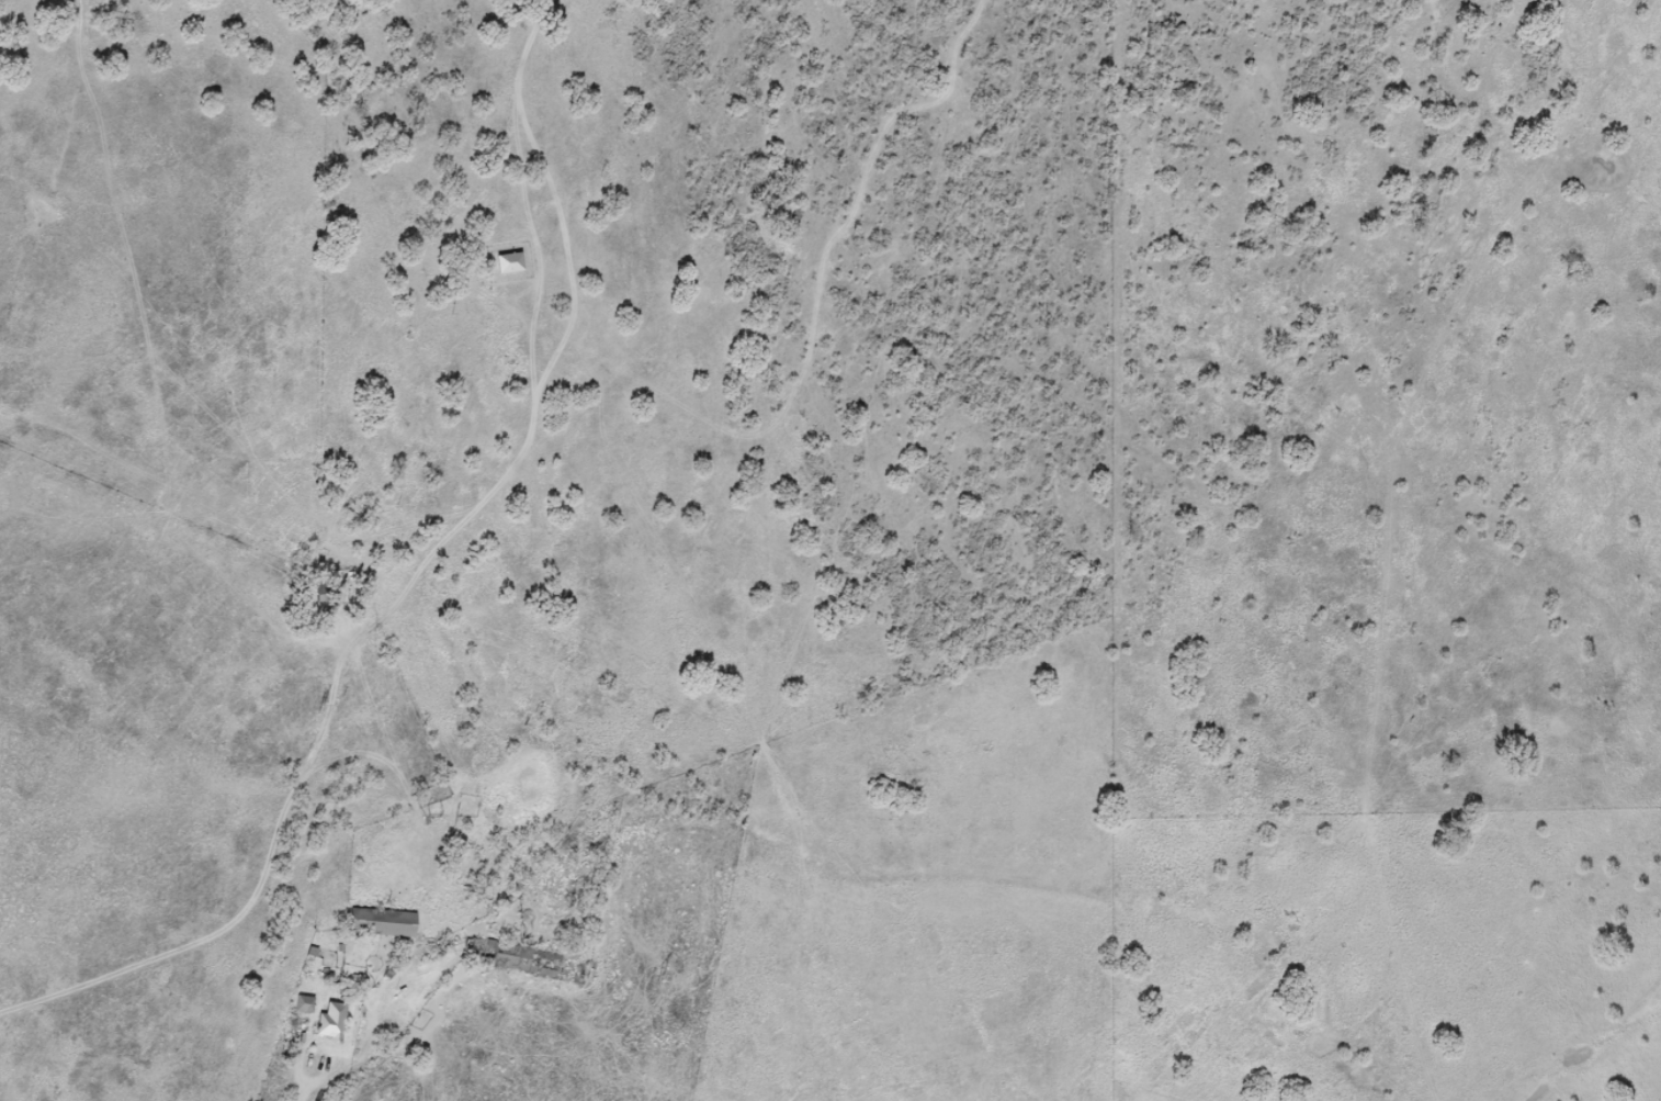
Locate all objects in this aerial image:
road: (405, 581)
power tower: (319, 707)
building: (385, 923)
power tower: (658, 977)
building: (306, 1007)
building: (335, 1023)
road: (396, 1079)

